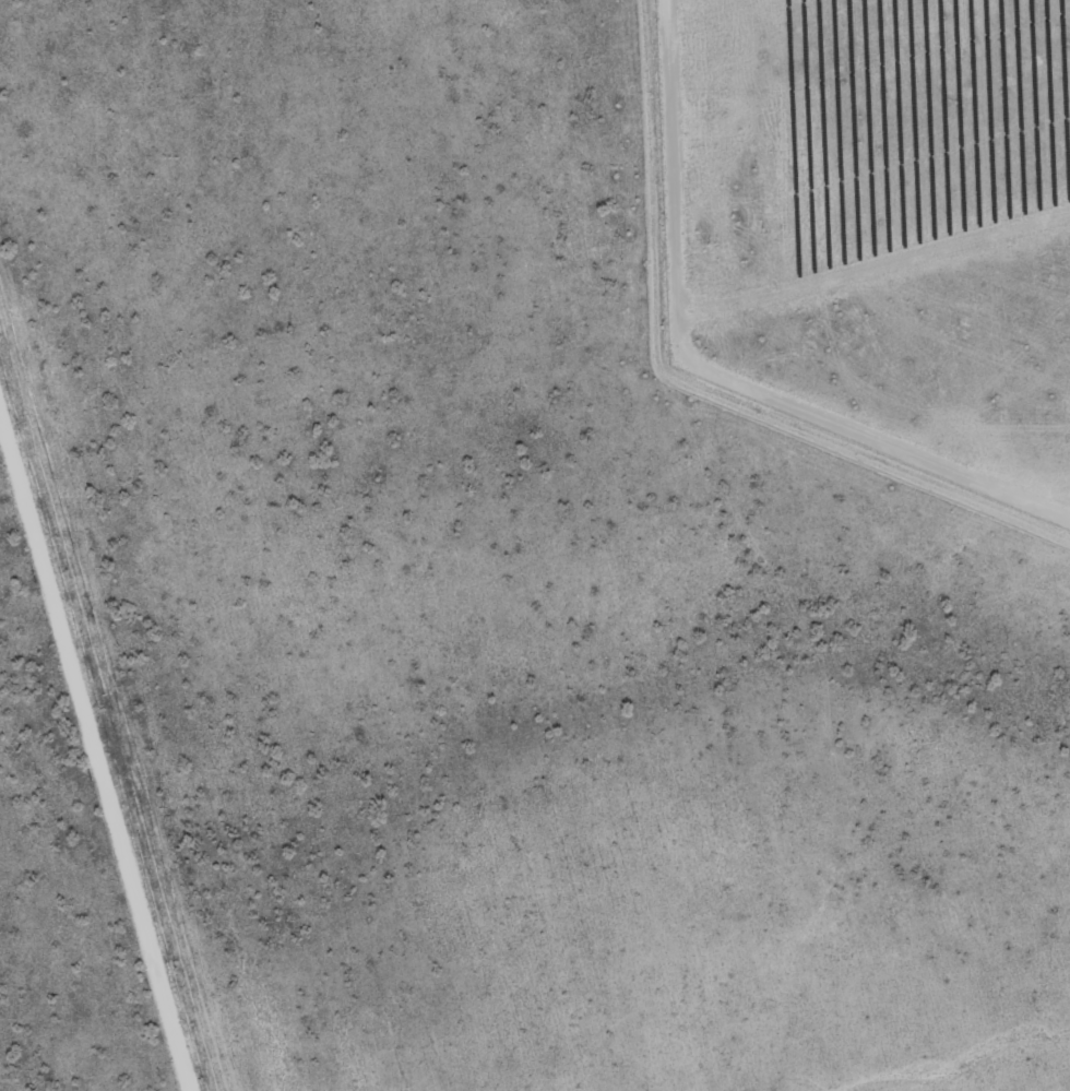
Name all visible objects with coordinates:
solar farm: (878, 225)

